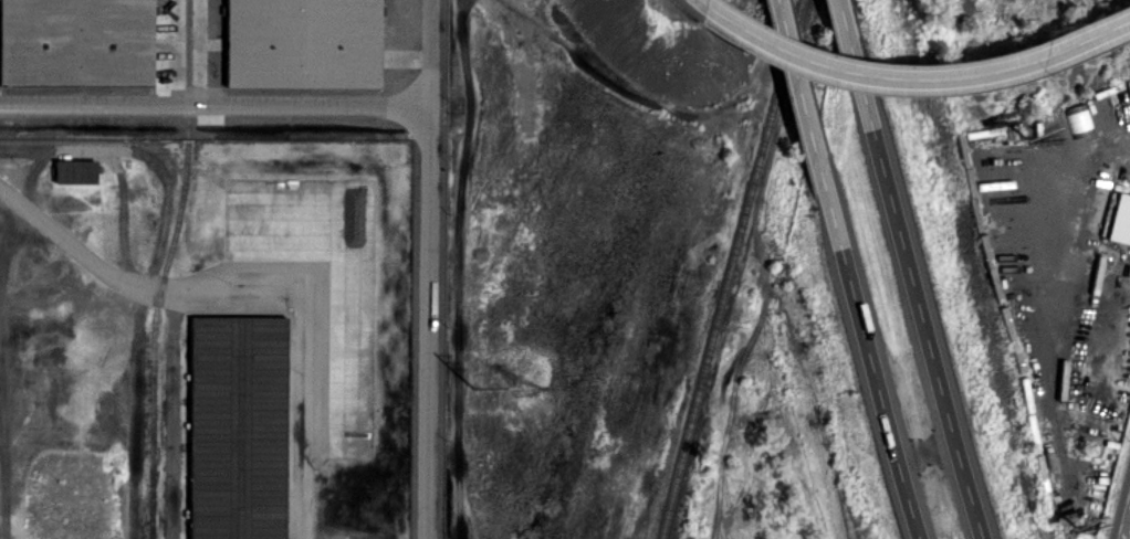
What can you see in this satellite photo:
road: (852, 60)
road: (794, 75)
road: (906, 78)
road: (217, 107)
building: (77, 171)
road: (1075, 177)
building: (1121, 220)
railway: (169, 268)
road: (433, 269)
railway: (740, 269)
road: (924, 329)
road: (865, 345)
road: (307, 361)
power tower: (527, 384)
power tower: (478, 389)
building: (240, 427)

